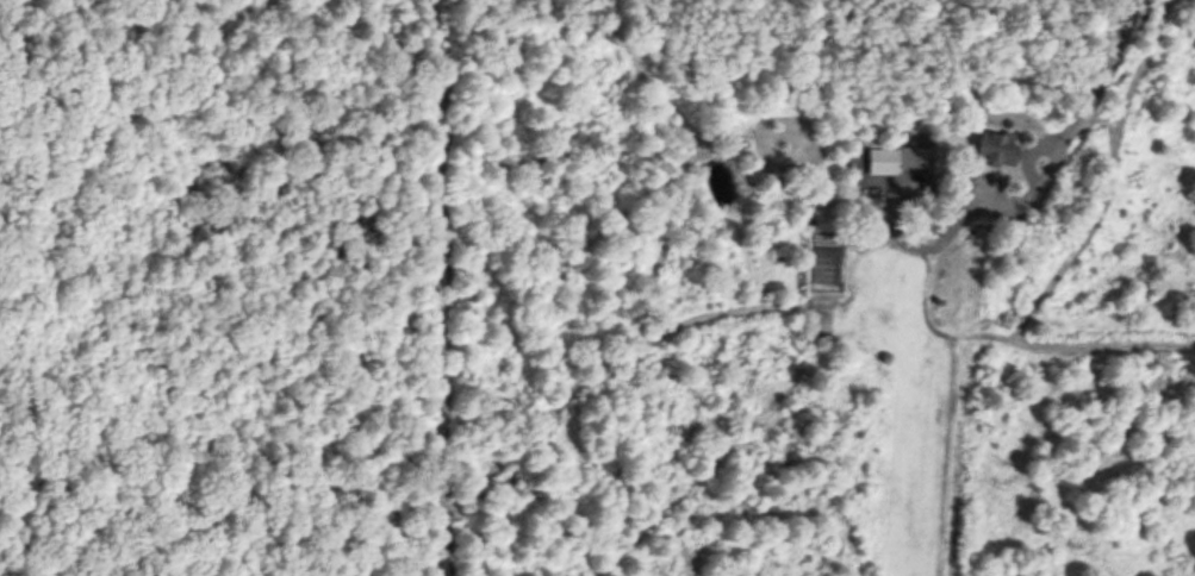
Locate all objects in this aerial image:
road: (1102, 65)
building: (992, 144)
building: (910, 151)
road: (1025, 171)

